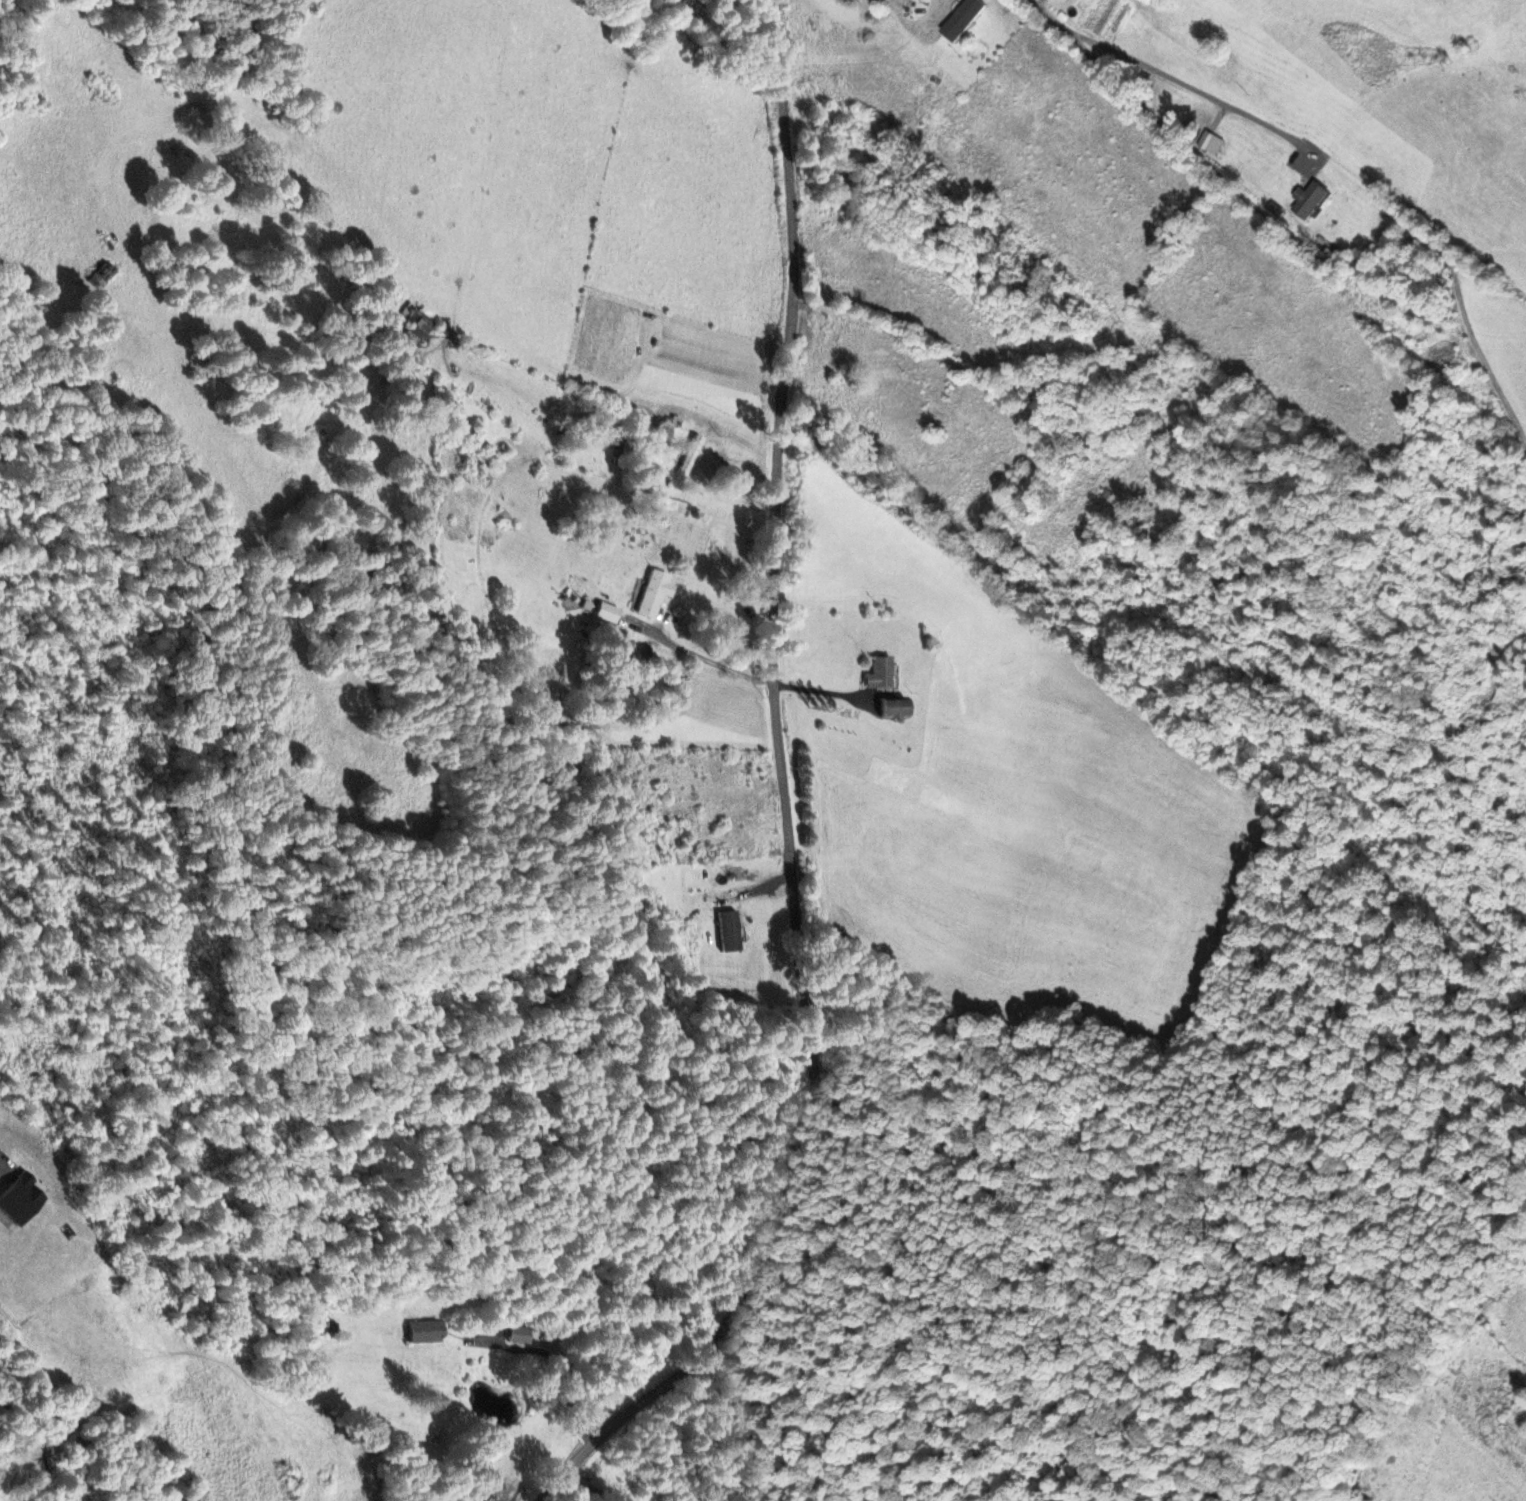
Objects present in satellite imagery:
building: (918, 0)
building: (1083, 17)
road: (1193, 91)
building: (842, 177)
building: (1310, 202)
road: (1301, 246)
building: (102, 275)
building: (417, 323)
building: (691, 457)
building: (1174, 466)
building: (654, 593)
building: (880, 674)
road: (821, 692)
building: (894, 710)
road: (785, 799)
building: (729, 932)
building: (426, 1333)
building: (520, 1336)
road: (593, 1485)

